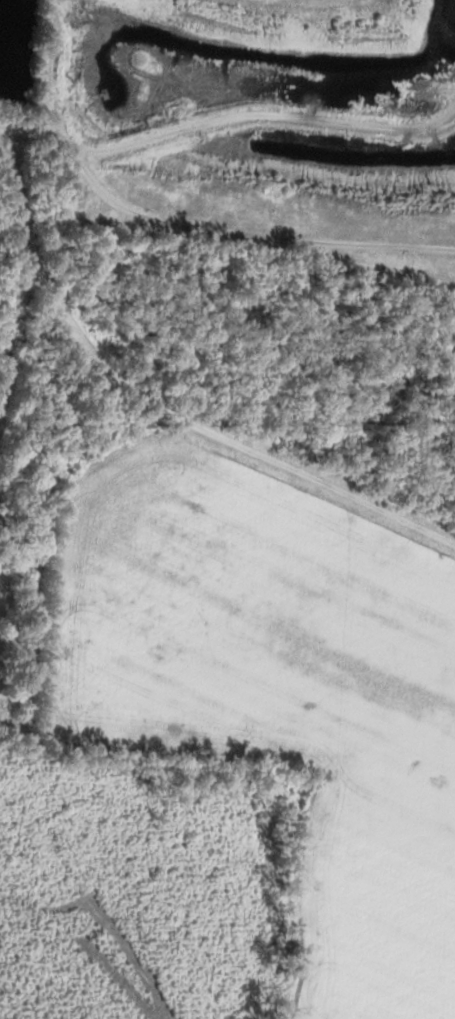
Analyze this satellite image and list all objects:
road: (55, 67)
road: (260, 112)
road: (212, 225)
road: (75, 357)
road: (259, 444)

